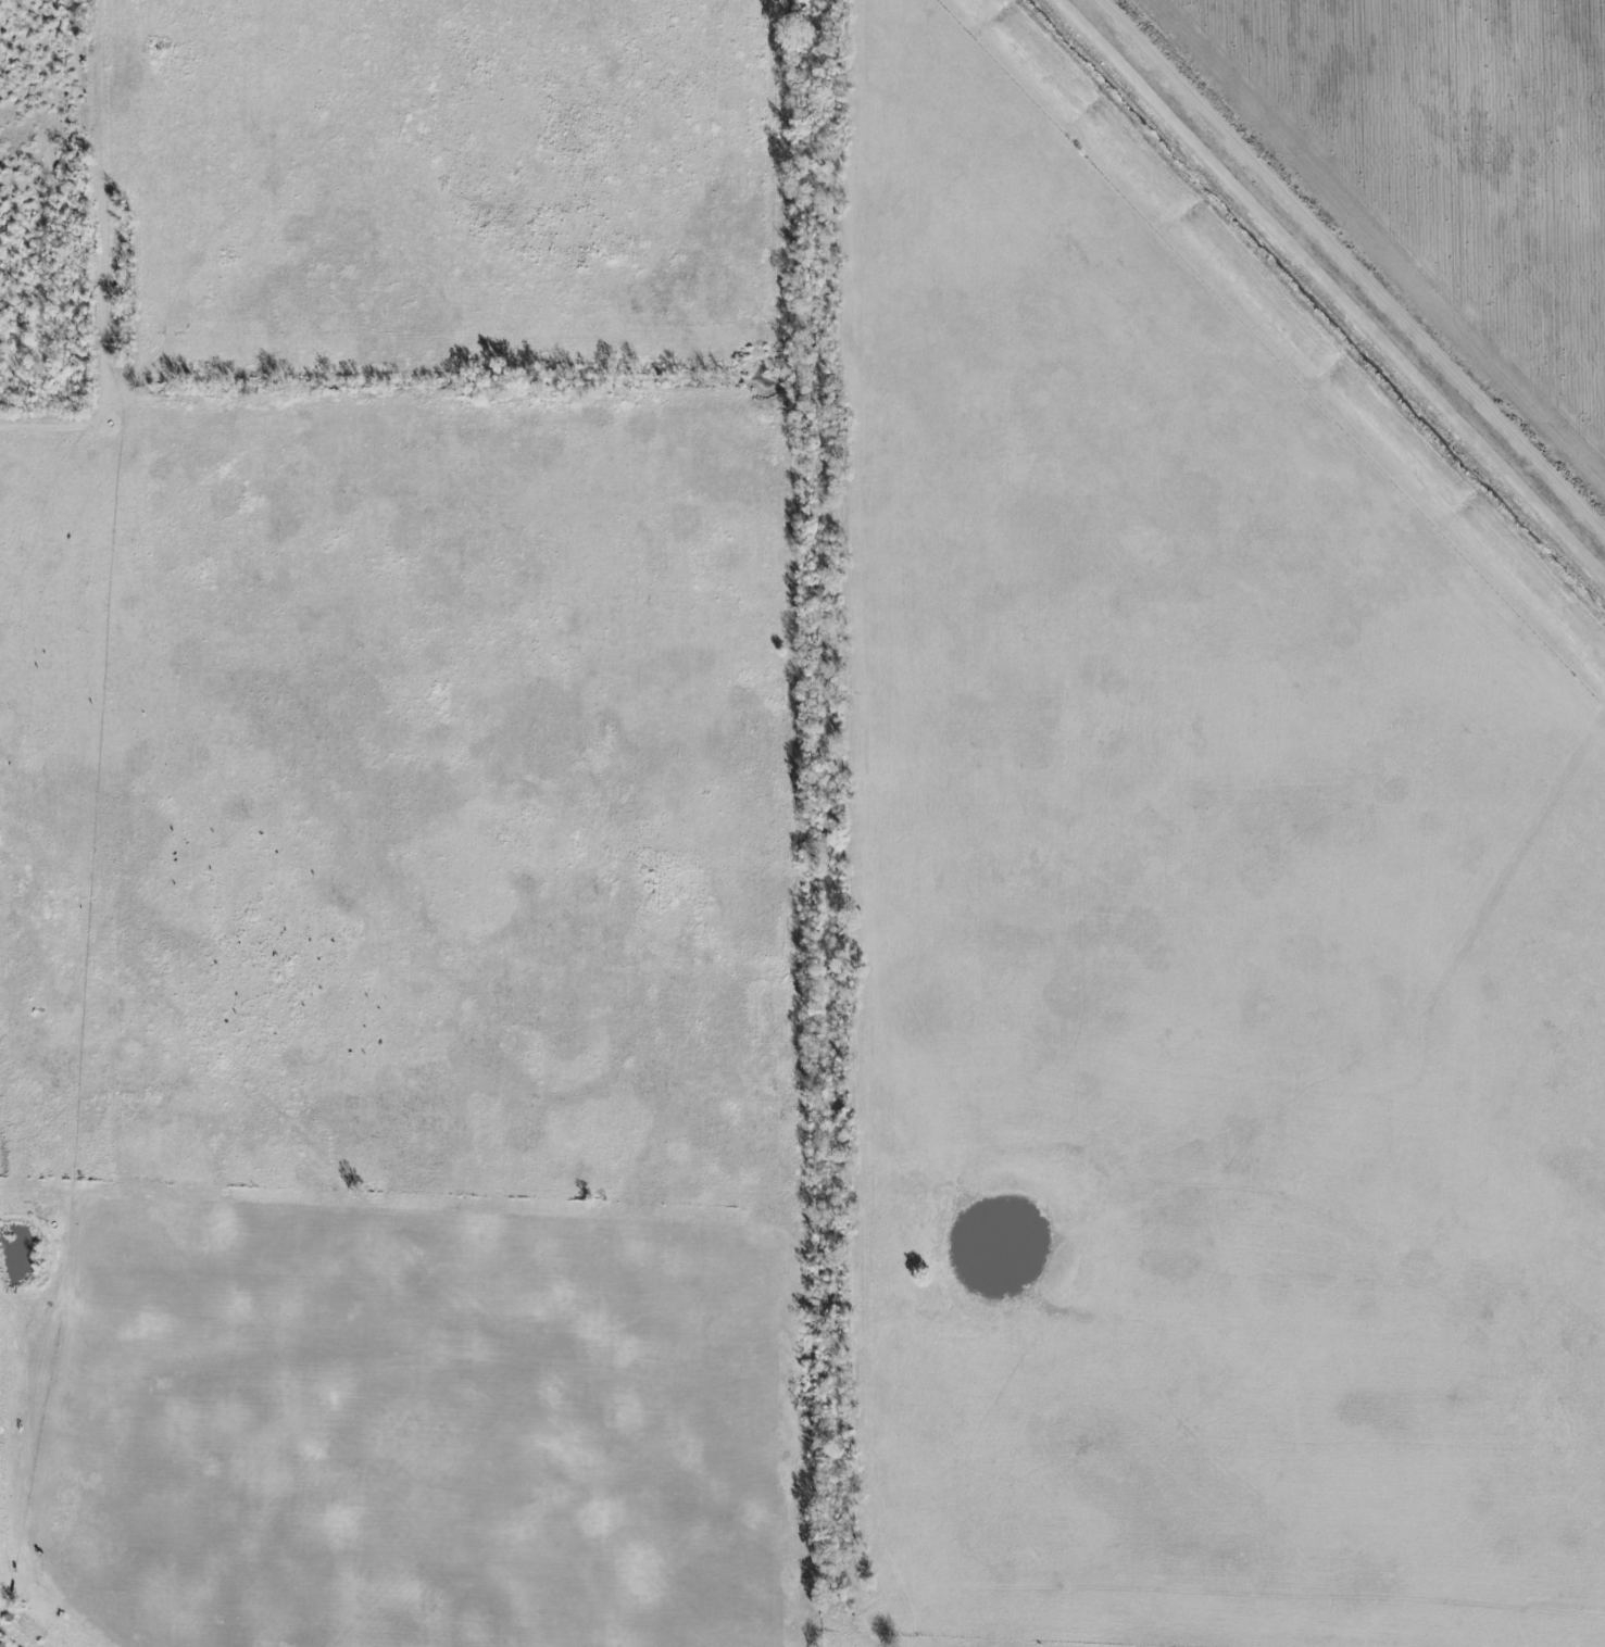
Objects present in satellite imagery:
road: (1358, 262)
road: (112, 271)
road: (2, 1538)

